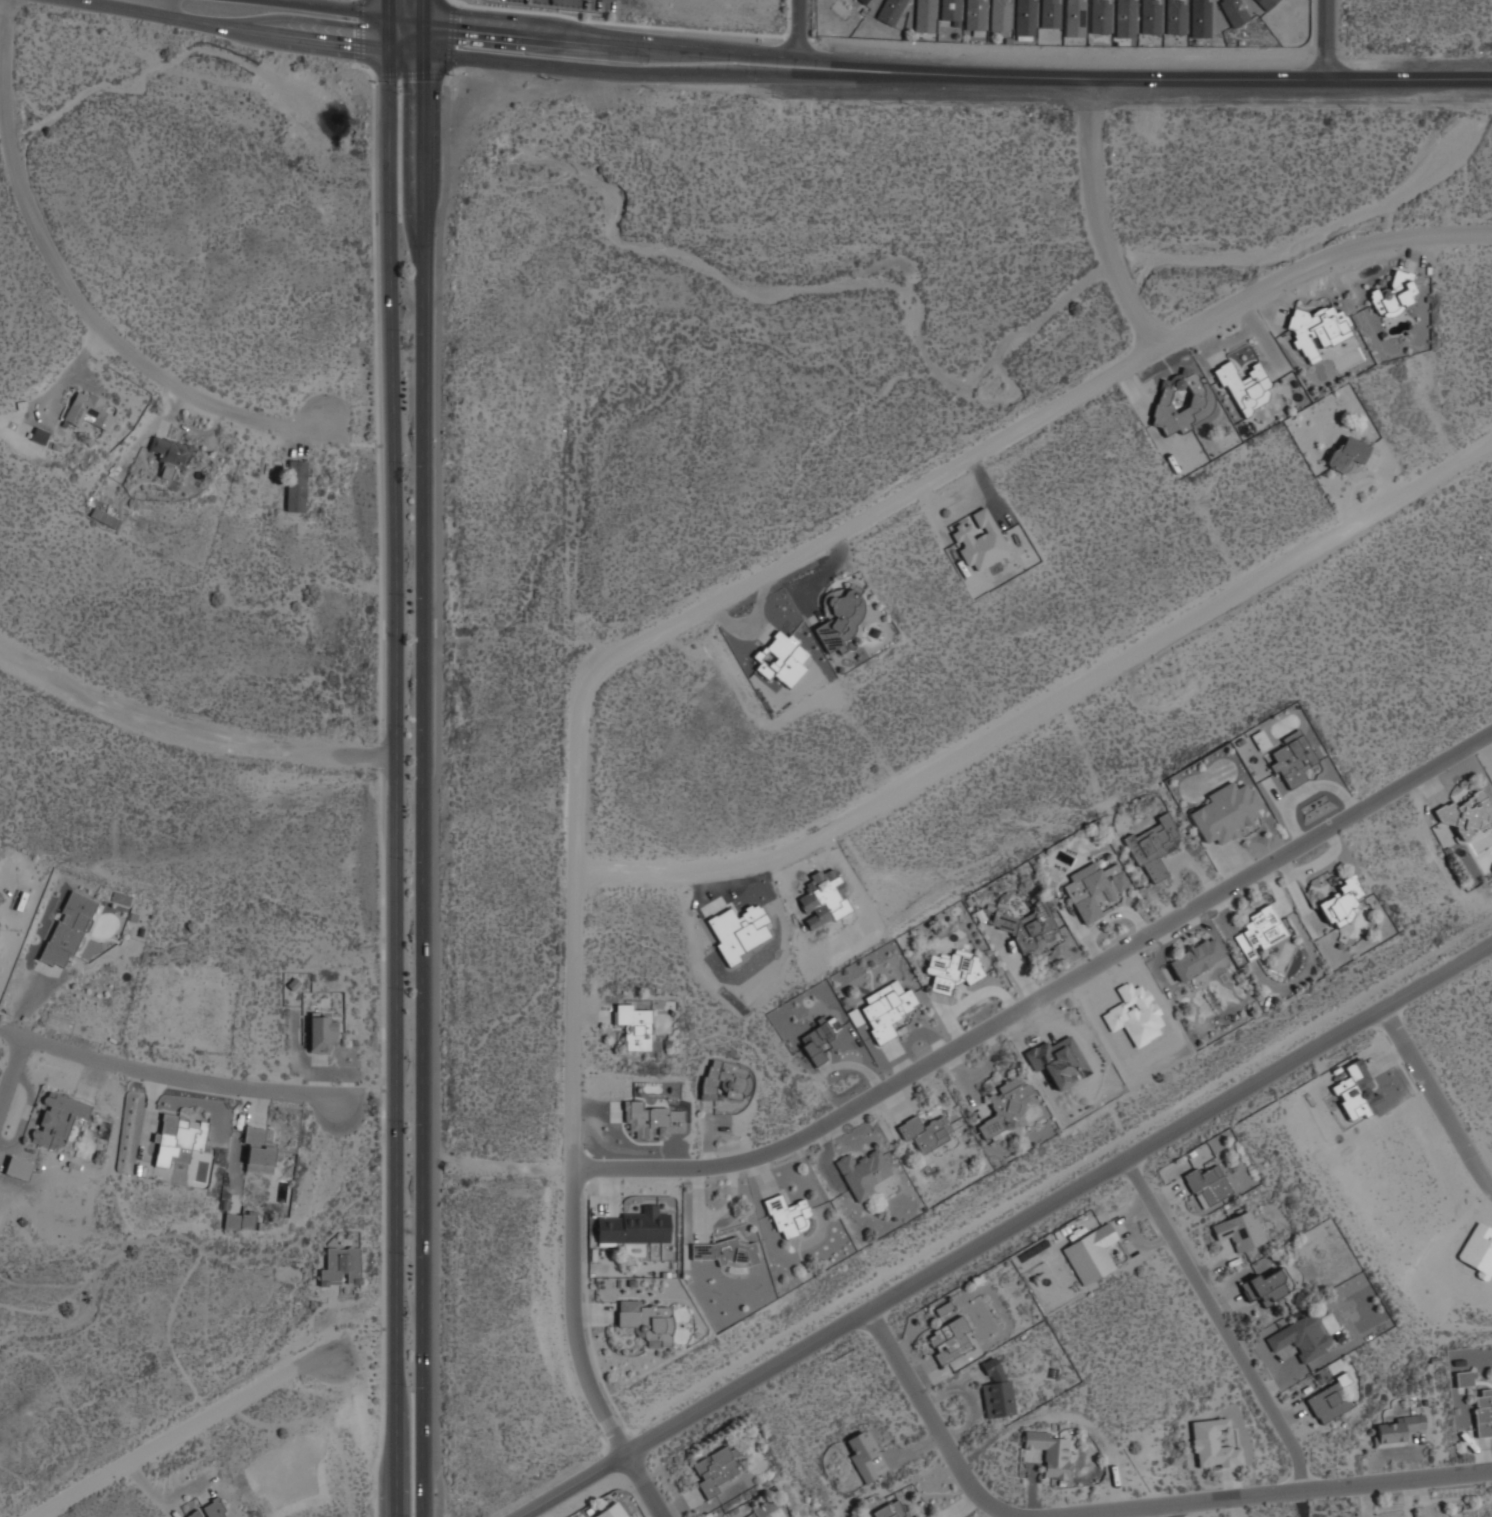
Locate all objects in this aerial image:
building: (862, 1)
building: (1266, 3)
building: (890, 10)
building: (950, 11)
building: (1234, 11)
building: (1050, 13)
building: (975, 14)
building: (925, 15)
building: (1000, 15)
road: (266, 16)
road: (389, 16)
building: (1099, 16)
building: (1149, 16)
building: (1175, 16)
road: (423, 17)
building: (1025, 17)
building: (1074, 18)
building: (1125, 18)
building: (1200, 18)
road: (562, 22)
traffic signals: (389, 33)
road: (798, 33)
traffic signals: (423, 34)
road: (1326, 40)
road: (939, 73)
road: (1099, 220)
road: (72, 288)
building: (1393, 293)
building: (1317, 329)
building: (1245, 386)
building: (1181, 402)
building: (87, 409)
road: (1029, 425)
building: (169, 449)
building: (1346, 453)
building: (296, 485)
building: (105, 517)
building: (979, 540)
building: (840, 616)
building: (781, 659)
road: (1052, 707)
road: (190, 731)
building: (1261, 740)
building: (1292, 758)
road: (582, 773)
road: (395, 774)
road: (423, 775)
building: (1225, 811)
building: (1466, 813)
building: (1153, 846)
building: (1094, 888)
building: (1339, 902)
building: (1027, 925)
building: (67, 928)
building: (1258, 930)
building: (1195, 958)
building: (953, 969)
road: (1042, 991)
building: (885, 1008)
road: (573, 1020)
building: (634, 1024)
building: (322, 1033)
building: (819, 1038)
road: (11, 1074)
road: (168, 1077)
building: (725, 1080)
road: (1438, 1103)
building: (1005, 1105)
building: (57, 1118)
building: (652, 1120)
building: (926, 1131)
building: (178, 1138)
building: (258, 1150)
building: (18, 1167)
road: (519, 1167)
building: (862, 1173)
building: (1207, 1184)
building: (788, 1214)
building: (239, 1220)
building: (633, 1226)
building: (1239, 1229)
road: (1001, 1234)
building: (1090, 1252)
building: (726, 1254)
building: (341, 1265)
building: (1267, 1285)
building: (644, 1320)
road: (1221, 1324)
building: (1302, 1336)
building: (948, 1339)
road: (574, 1353)
building: (1464, 1377)
building: (995, 1387)
building: (1329, 1399)
building: (1483, 1412)
road: (933, 1421)
building: (1396, 1429)
road: (182, 1432)
building: (1212, 1443)
road: (403, 1446)
building: (1049, 1452)
building: (862, 1453)
road: (380, 1465)
building: (715, 1468)
road: (1272, 1494)
building: (890, 1509)
building: (208, 1510)
building: (610, 1510)
building: (763, 1516)
building: (916, 1516)
building: (924, 1516)

